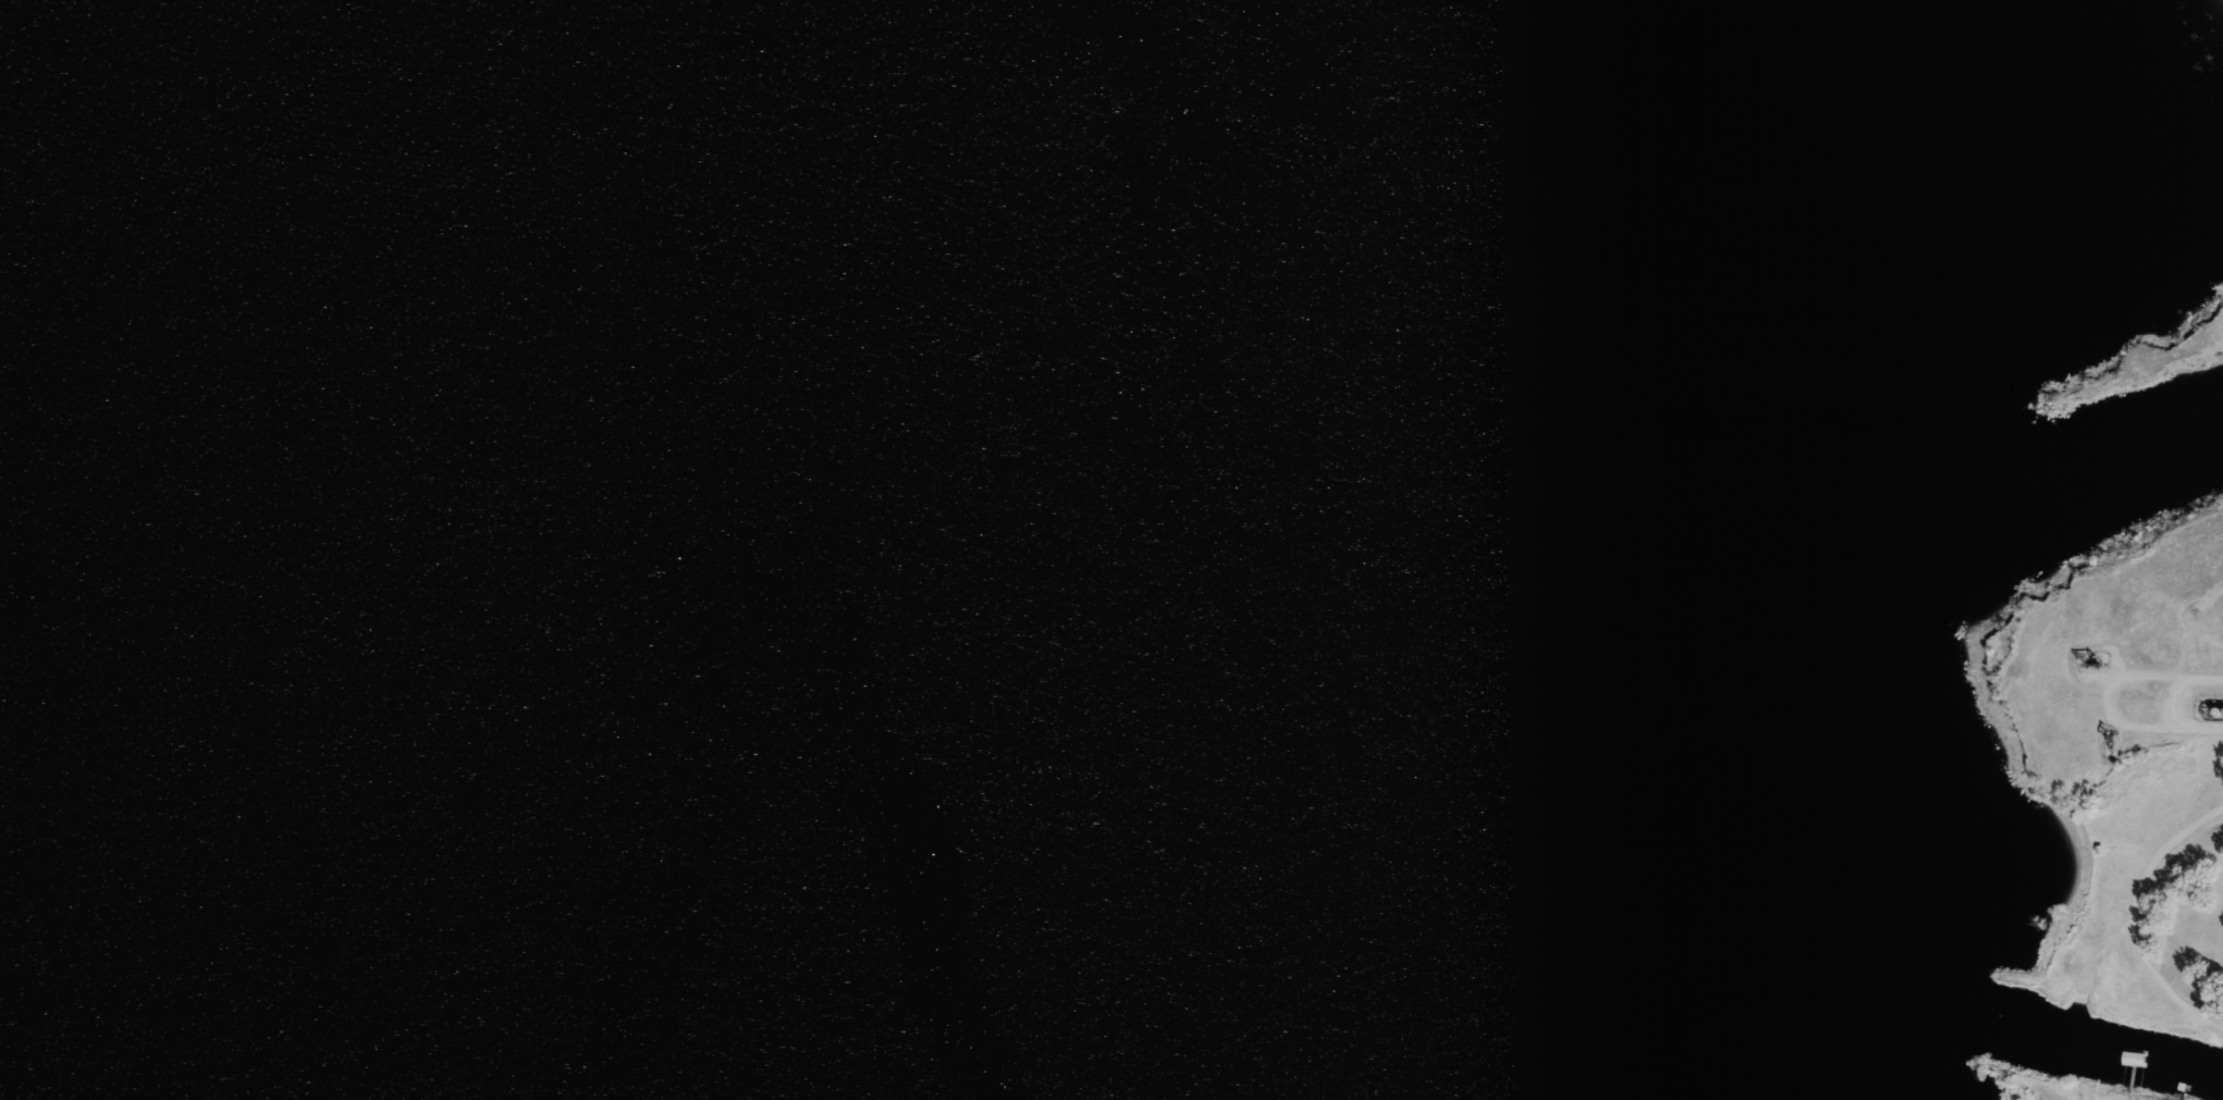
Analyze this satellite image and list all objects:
road: (2169, 705)
road: (2135, 919)
road: (2100, 1096)

